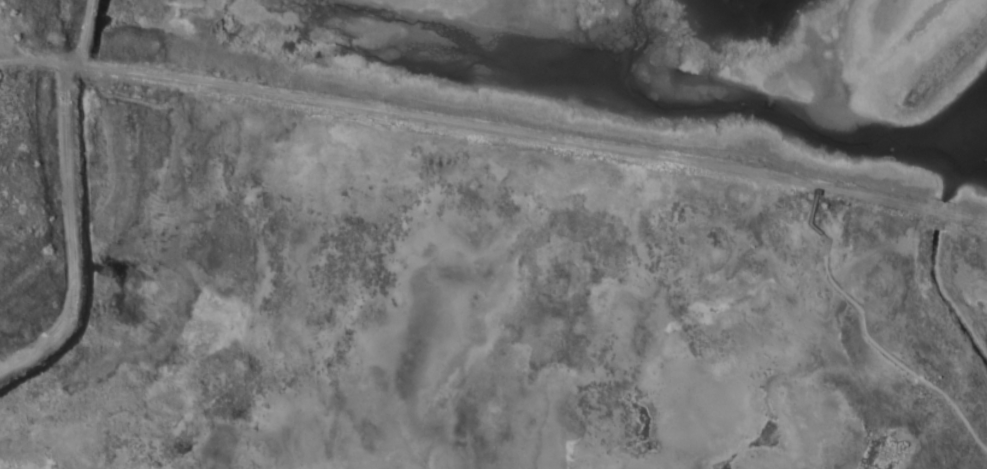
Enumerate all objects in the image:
road: (866, 338)

